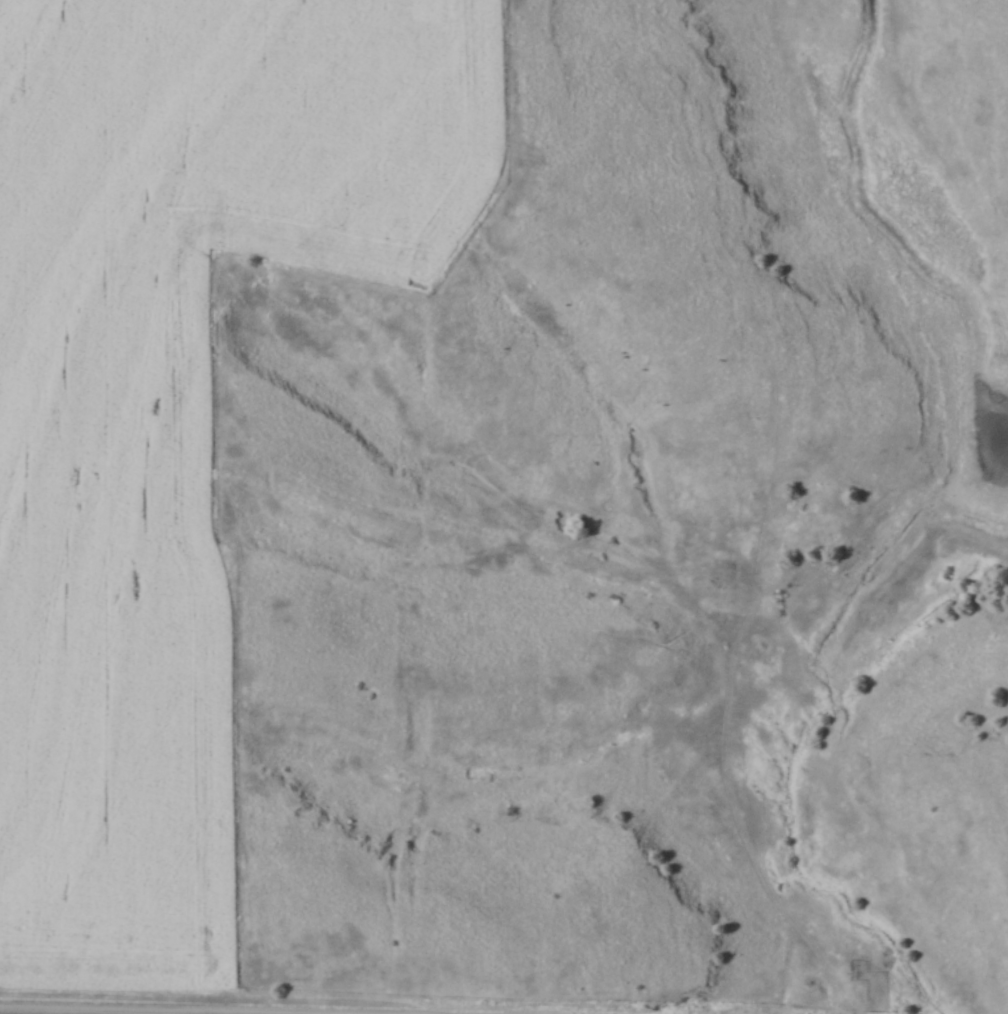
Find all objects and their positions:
road: (153, 1009)

